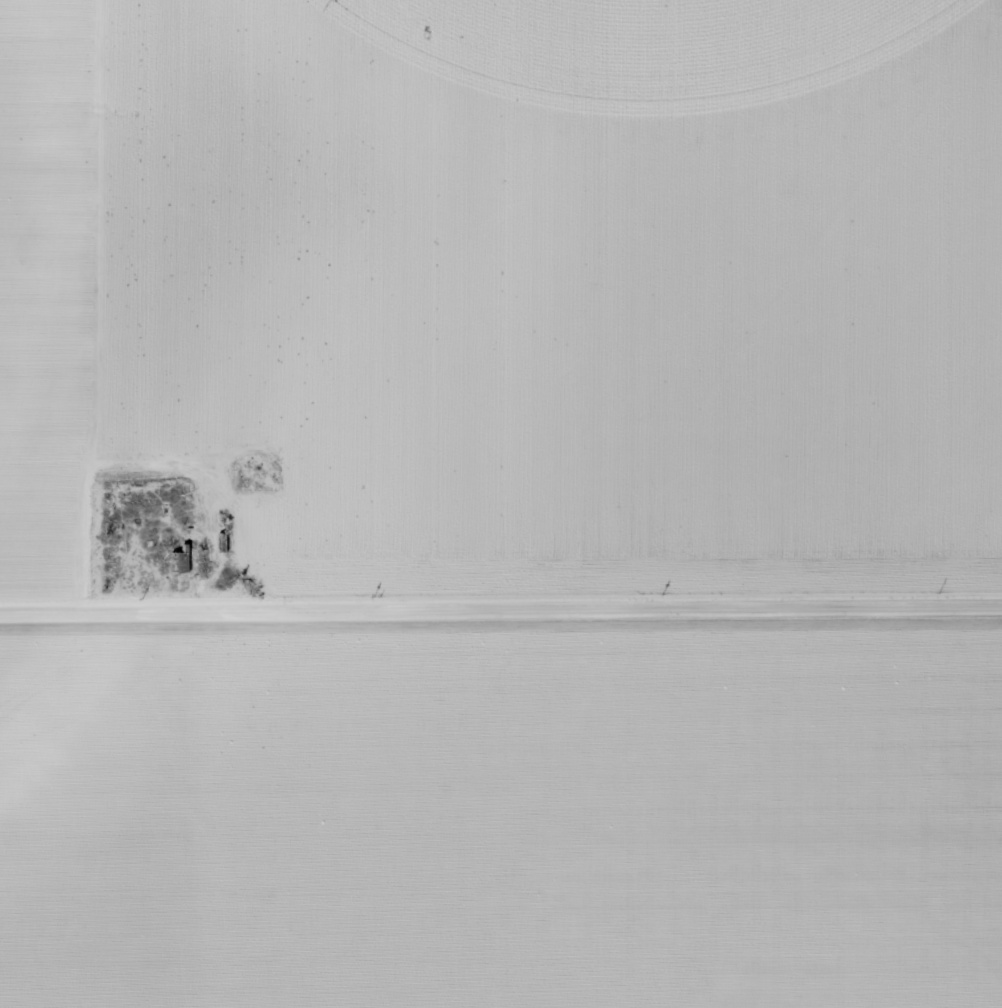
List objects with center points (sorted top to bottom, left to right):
road: (500, 614)

